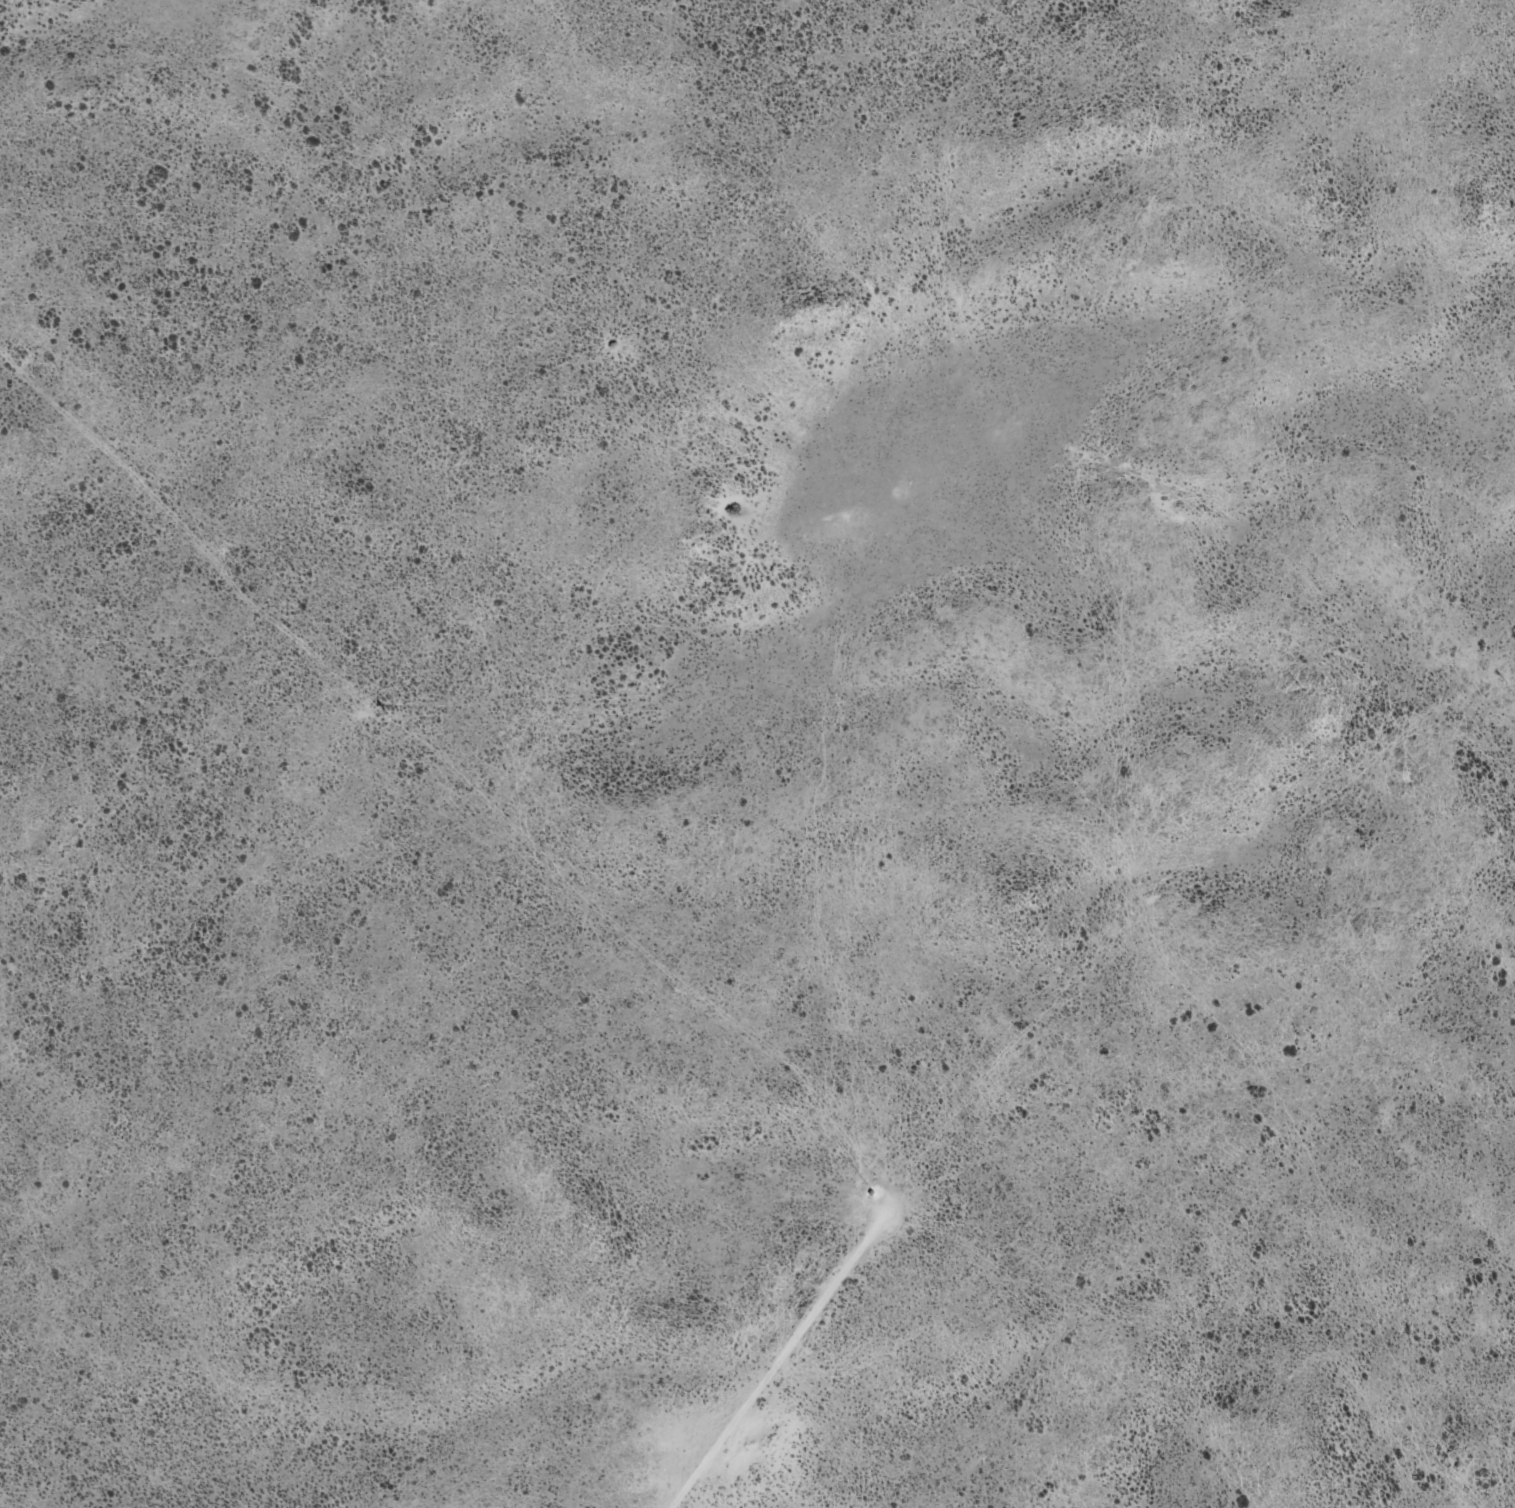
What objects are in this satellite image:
road: (793, 1385)

